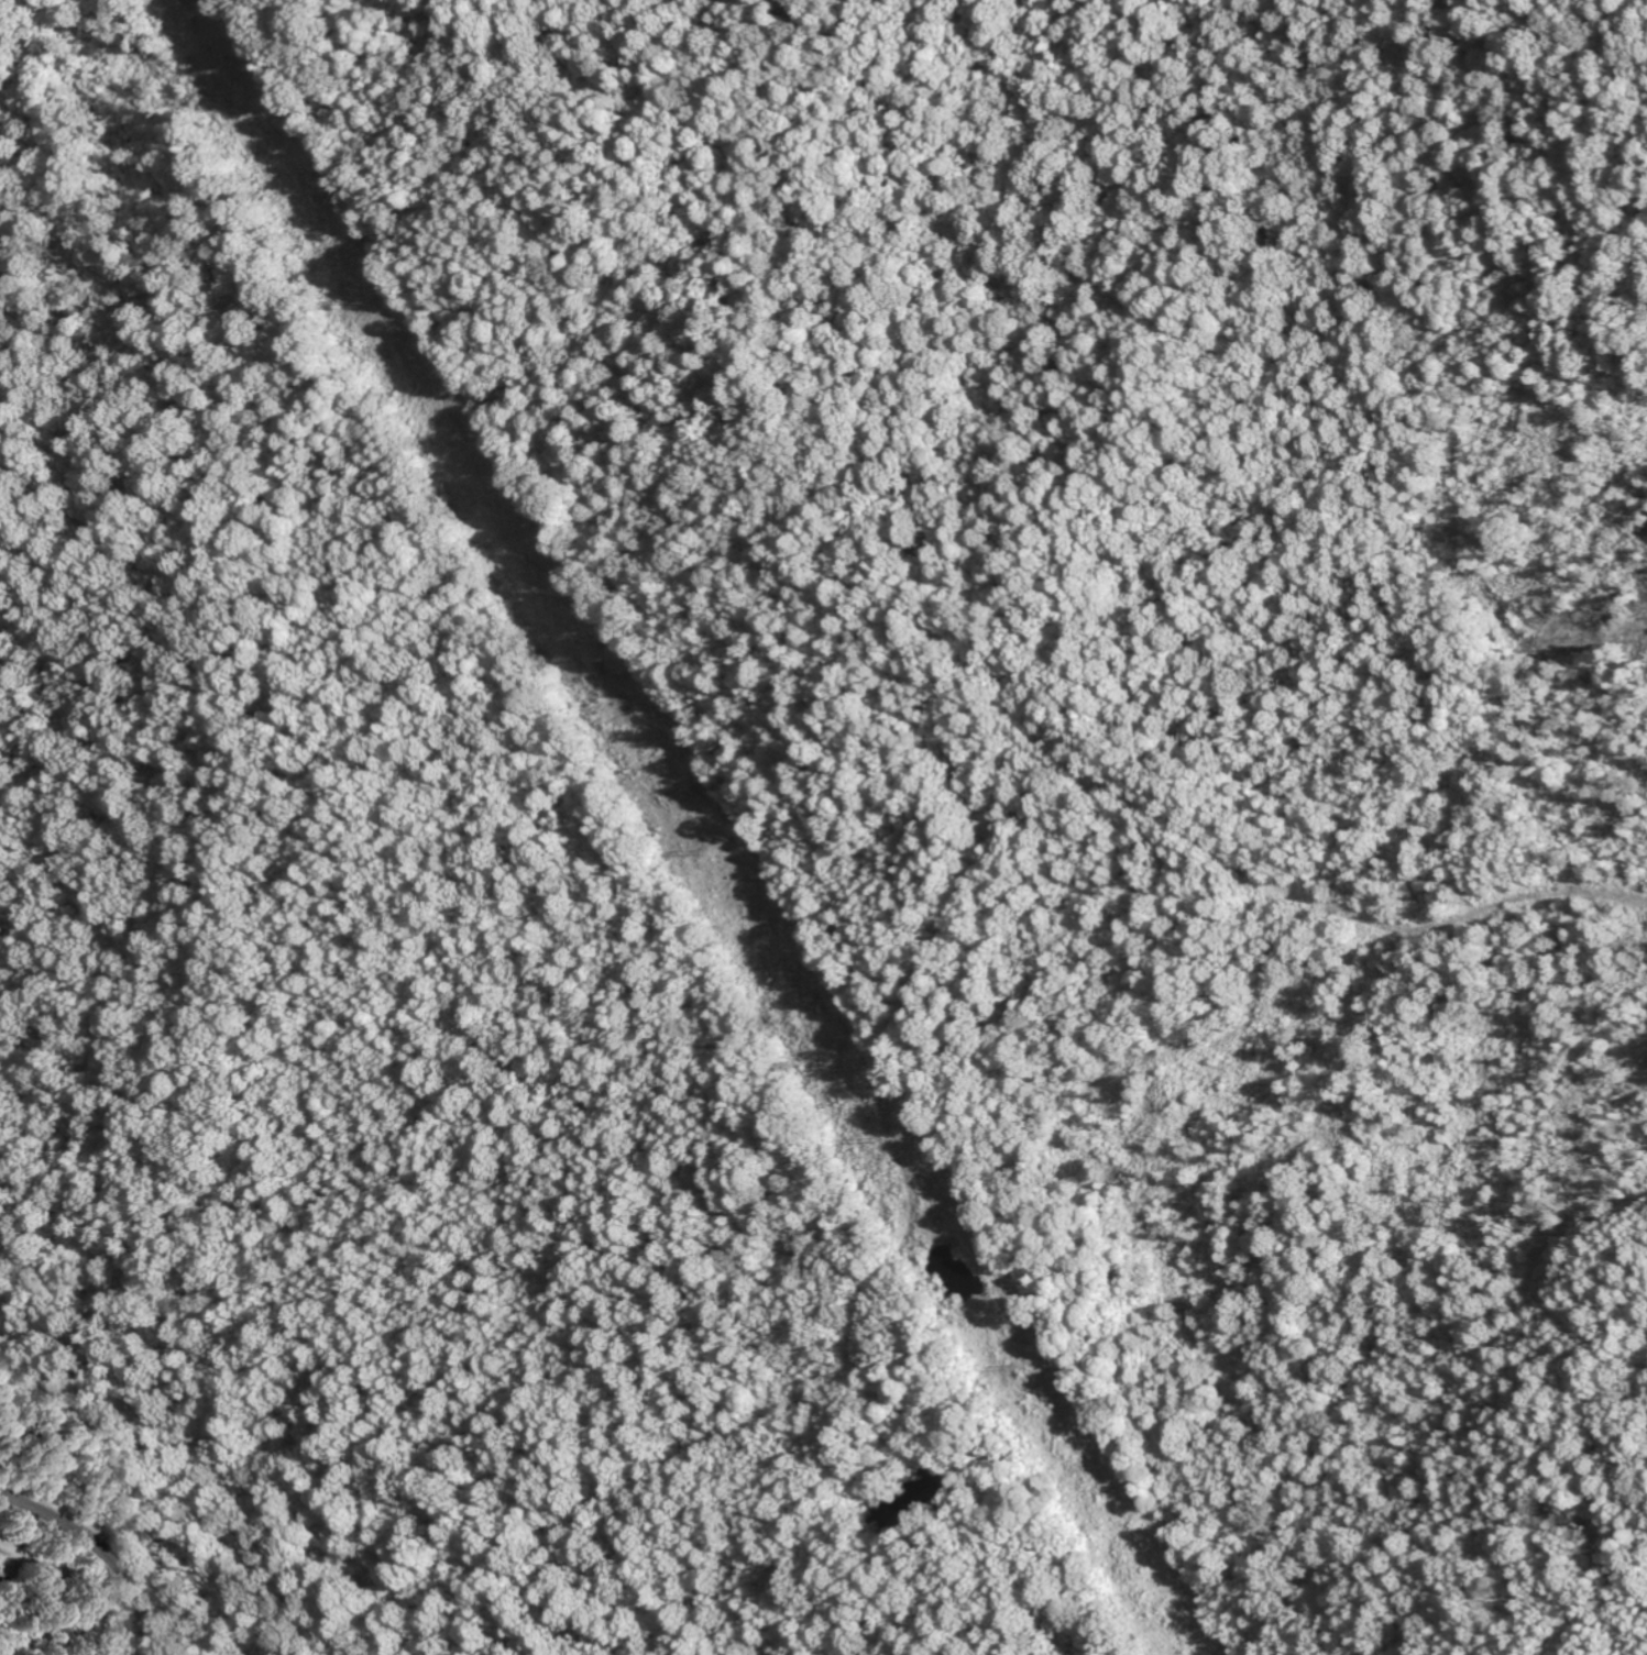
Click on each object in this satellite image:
road: (100, 1555)

